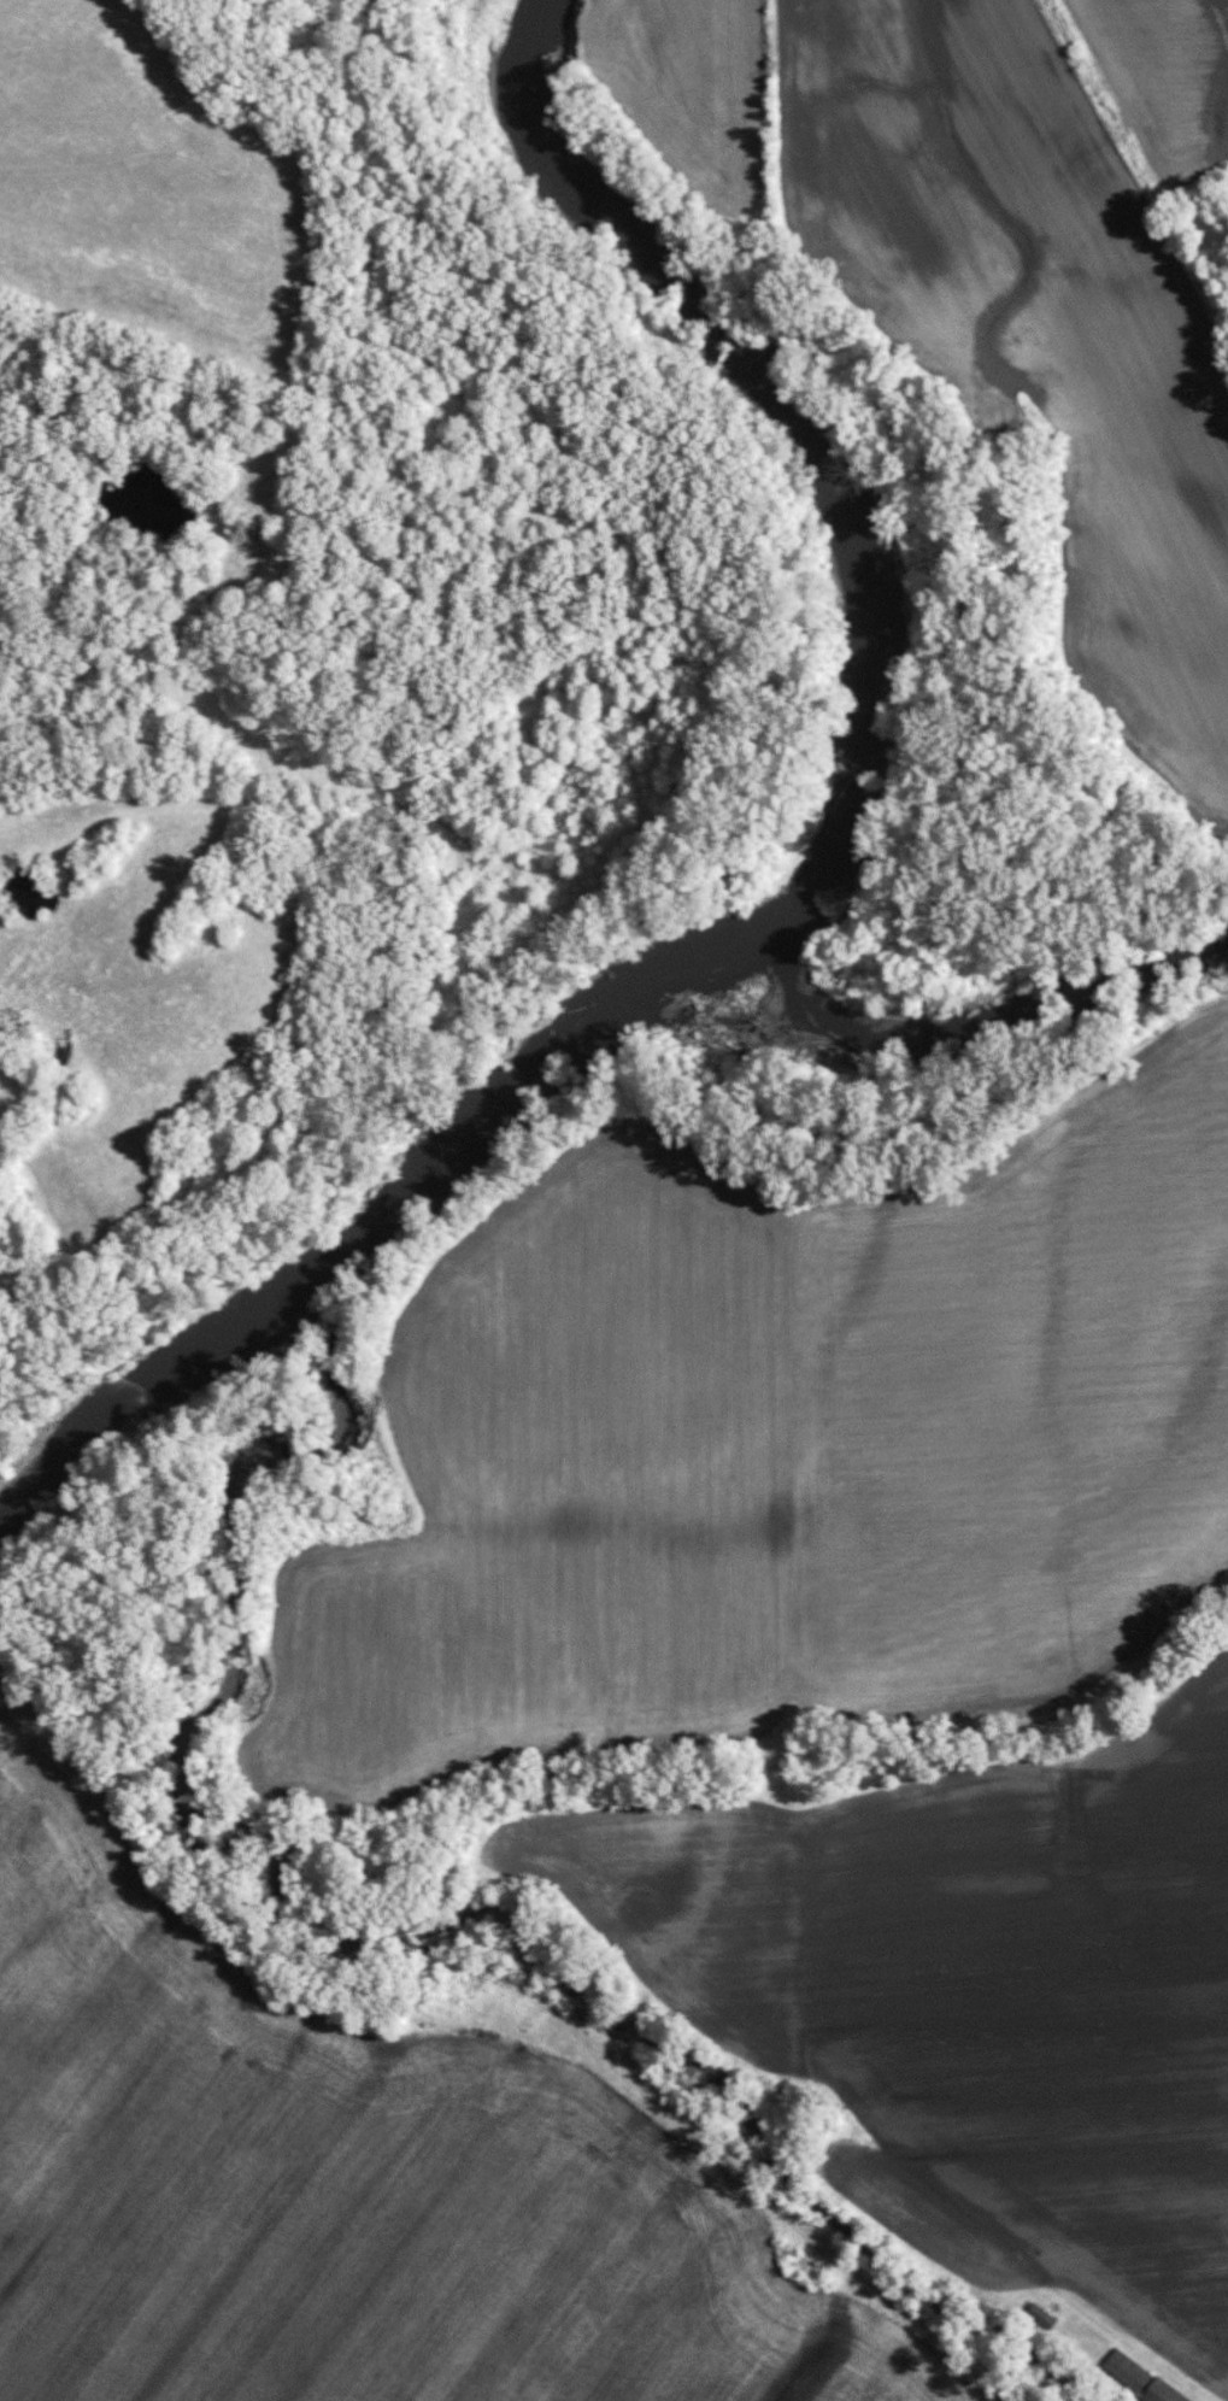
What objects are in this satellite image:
crop: (260, 2160)
crop: (727, 2311)
building: (1138, 2379)

